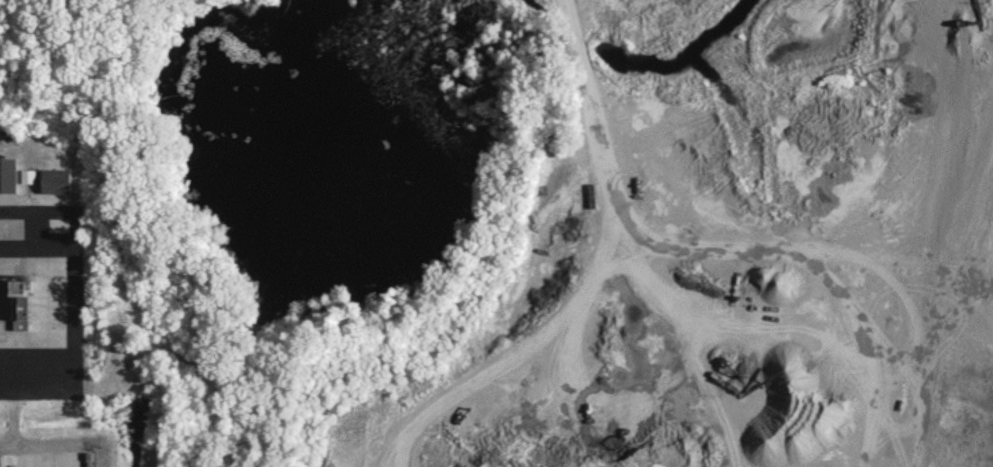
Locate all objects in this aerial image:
building: (8, 174)
building: (28, 175)
building: (56, 180)
road: (72, 290)

